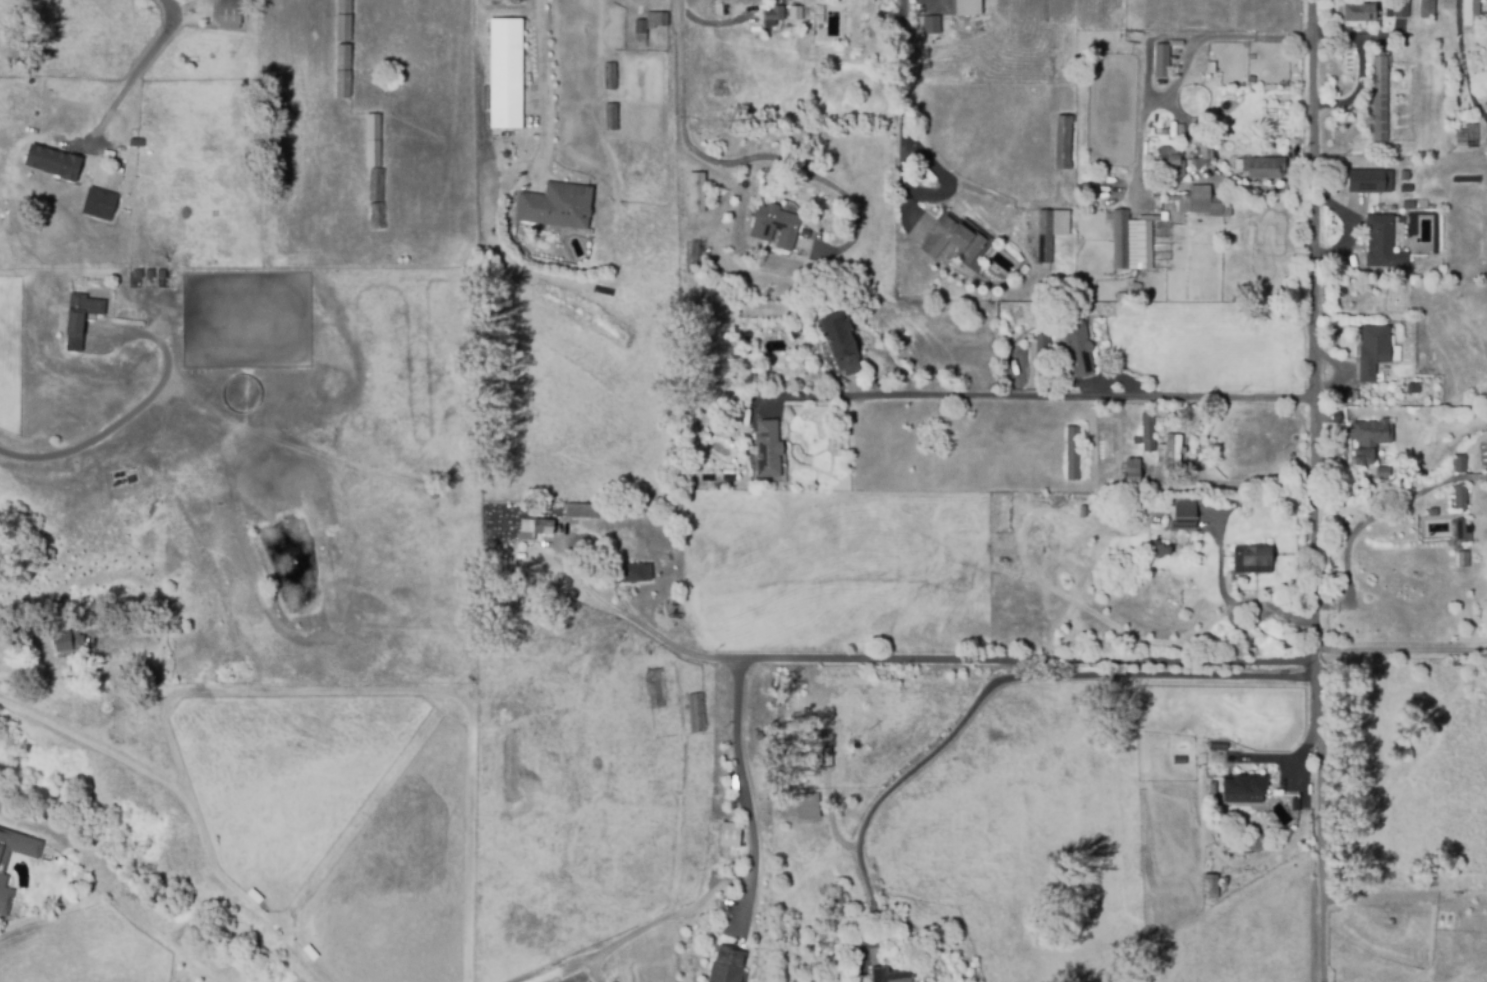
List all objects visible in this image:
building: (969, 8)
building: (1427, 8)
building: (1401, 9)
building: (1389, 10)
building: (1359, 11)
building: (1470, 12)
building: (229, 15)
building: (781, 16)
building: (651, 23)
building: (931, 26)
road: (1160, 39)
building: (342, 49)
road: (1460, 53)
building: (1161, 62)
road: (143, 64)
building: (505, 74)
building: (610, 77)
road: (543, 79)
road: (1175, 82)
building: (1380, 98)
building: (612, 118)
building: (1467, 134)
building: (372, 142)
building: (1063, 143)
road: (746, 159)
building: (54, 164)
building: (1169, 165)
building: (1268, 168)
building: (1366, 180)
building: (376, 185)
building: (695, 192)
building: (1204, 204)
building: (100, 205)
building: (556, 207)
building: (375, 217)
building: (775, 229)
building: (1051, 232)
building: (953, 242)
building: (1383, 242)
building: (1131, 244)
building: (80, 319)
building: (841, 345)
building: (1079, 351)
building: (1373, 351)
building: (1041, 357)
road: (1056, 397)
building: (1148, 433)
road: (104, 434)
building: (1369, 441)
building: (768, 450)
building: (1171, 454)
building: (1073, 455)
building: (1461, 463)
building: (1132, 473)
road: (1318, 491)
building: (1462, 497)
building: (583, 511)
road: (1371, 517)
building: (1184, 518)
building: (542, 527)
building: (1464, 530)
building: (1161, 553)
building: (1254, 559)
building: (1464, 559)
building: (632, 575)
road: (594, 592)
road: (1236, 602)
road: (24, 630)
building: (61, 647)
road: (1404, 651)
road: (978, 659)
road: (1006, 678)
building: (656, 689)
building: (696, 715)
building: (1212, 790)
building: (1245, 793)
road: (747, 799)
building: (798, 808)
building: (729, 835)
building: (2, 869)
building: (1210, 890)
building: (729, 966)
building: (887, 978)

